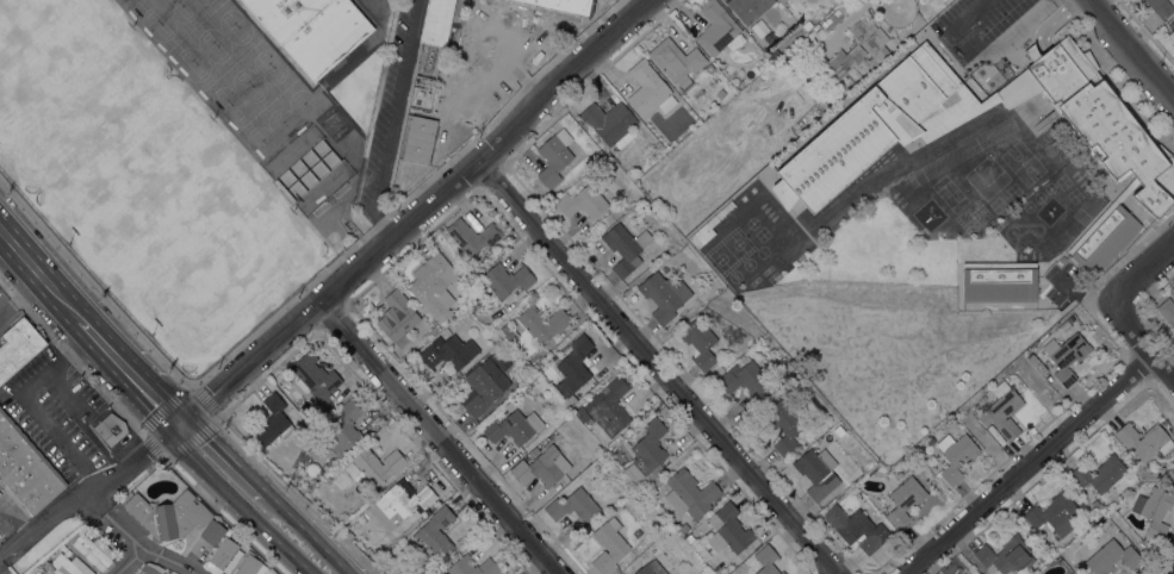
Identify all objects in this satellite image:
building: (782, 1)
building: (1161, 7)
building: (748, 8)
building: (836, 14)
building: (436, 21)
building: (1172, 25)
building: (716, 27)
building: (313, 30)
building: (486, 32)
building: (814, 36)
building: (770, 37)
building: (870, 40)
road: (1131, 49)
road: (992, 54)
building: (783, 58)
building: (676, 61)
building: (839, 64)
building: (709, 68)
building: (745, 77)
building: (466, 79)
building: (648, 89)
road: (392, 120)
building: (610, 123)
building: (420, 139)
building: (838, 152)
building: (600, 154)
building: (554, 156)
building: (583, 202)
building: (657, 212)
road: (414, 214)
building: (476, 218)
building: (471, 235)
building: (625, 248)
road: (6, 249)
building: (664, 254)
road: (1138, 267)
road: (44, 276)
building: (504, 279)
building: (999, 281)
building: (433, 282)
building: (1172, 289)
road: (21, 294)
building: (664, 294)
building: (1167, 310)
building: (398, 318)
building: (542, 323)
road: (1130, 325)
building: (698, 342)
building: (18, 347)
building: (448, 351)
building: (1064, 358)
road: (656, 364)
road: (1163, 364)
building: (574, 366)
road: (132, 376)
building: (315, 376)
building: (743, 379)
building: (483, 387)
road: (30, 401)
building: (609, 405)
building: (1002, 410)
building: (272, 420)
building: (783, 424)
traffic signals: (178, 426)
building: (513, 426)
building: (344, 428)
building: (110, 429)
building: (825, 435)
road: (437, 437)
building: (1144, 439)
road: (225, 455)
building: (647, 455)
building: (956, 455)
road: (133, 460)
road: (1029, 461)
building: (378, 464)
building: (25, 468)
building: (541, 468)
building: (813, 473)
building: (1100, 473)
building: (856, 492)
building: (689, 493)
building: (316, 494)
building: (905, 500)
road: (241, 503)
building: (399, 503)
building: (1095, 503)
building: (573, 506)
building: (1154, 510)
building: (1054, 513)
building: (169, 514)
road: (42, 519)
building: (683, 528)
building: (728, 529)
building: (859, 530)
building: (212, 531)
road: (310, 532)
building: (636, 532)
building: (435, 535)
building: (689, 536)
road: (133, 539)
building: (608, 544)
building: (94, 550)
building: (704, 554)
building: (1004, 554)
building: (224, 556)
building: (1111, 556)
building: (766, 560)
building: (657, 561)
road: (131, 562)
building: (70, 563)
building: (249, 566)
building: (472, 567)
building: (150, 568)
building: (722, 570)
building: (49, 572)
building: (37, 573)
building: (620, 573)
building: (1024, 573)
building: (1069, 573)

